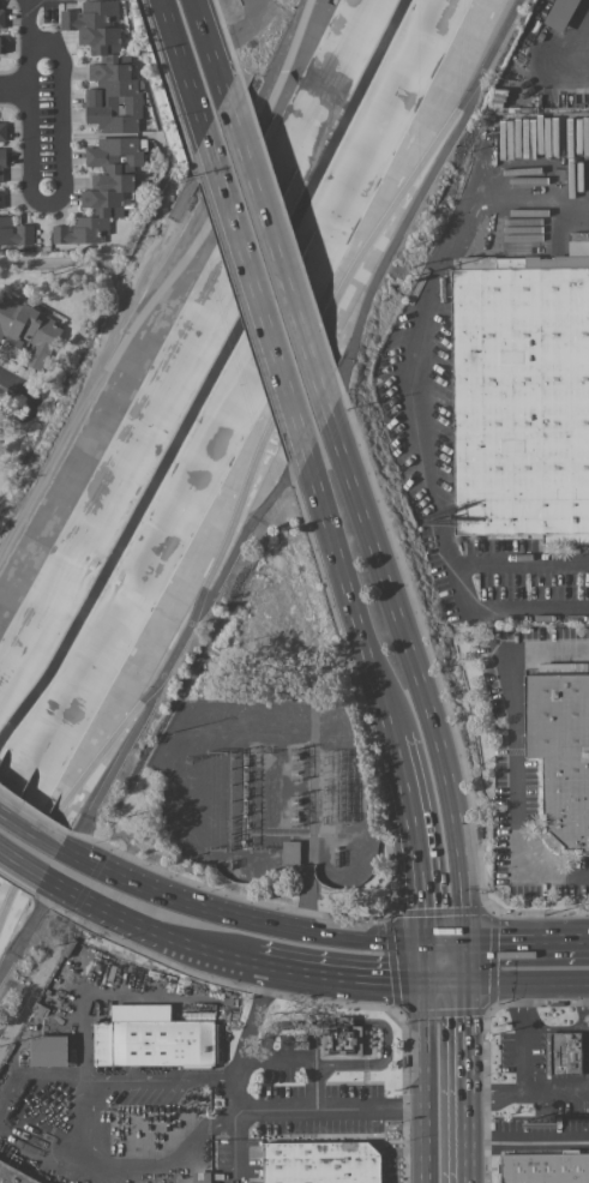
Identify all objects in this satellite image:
building: (0, 11)
building: (559, 13)
road: (251, 38)
road: (576, 40)
building: (1, 44)
road: (212, 47)
road: (185, 64)
building: (104, 67)
road: (16, 90)
road: (31, 94)
road: (64, 125)
building: (2, 131)
building: (1, 164)
building: (102, 188)
building: (1, 199)
building: (14, 232)
road: (161, 234)
road: (391, 252)
road: (280, 256)
road: (28, 260)
road: (440, 263)
road: (155, 282)
road: (258, 295)
building: (26, 331)
river: (204, 374)
road: (8, 395)
building: (521, 401)
road: (256, 472)
road: (246, 533)
road: (539, 563)
road: (468, 565)
road: (453, 580)
road: (351, 599)
road: (420, 675)
road: (513, 751)
building: (560, 751)
road: (402, 758)
road: (115, 770)
road: (29, 828)
building: (290, 852)
road: (22, 861)
road: (422, 861)
road: (101, 906)
road: (258, 919)
road: (26, 930)
traffic signals: (428, 943)
traffic signals: (469, 943)
road: (529, 943)
road: (197, 950)
road: (428, 963)
road: (469, 963)
road: (332, 980)
road: (529, 981)
traffic signals: (429, 984)
road: (450, 984)
traffic signals: (470, 984)
building: (151, 1038)
road: (524, 1039)
building: (344, 1041)
building: (49, 1050)
building: (565, 1052)
road: (303, 1062)
road: (429, 1083)
road: (470, 1083)
road: (529, 1095)
road: (262, 1111)
road: (86, 1125)
road: (529, 1140)
building: (321, 1163)
building: (545, 1167)
building: (14, 1175)
building: (200, 1177)

